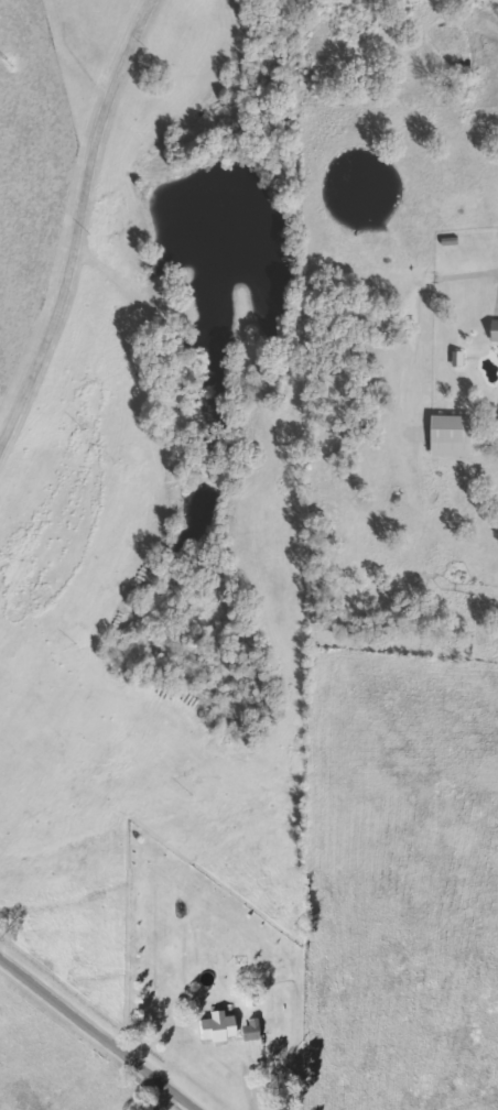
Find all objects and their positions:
power tower: (10, 63)
building: (497, 342)
building: (458, 437)
building: (221, 1027)
building: (255, 1030)
road: (95, 1034)

